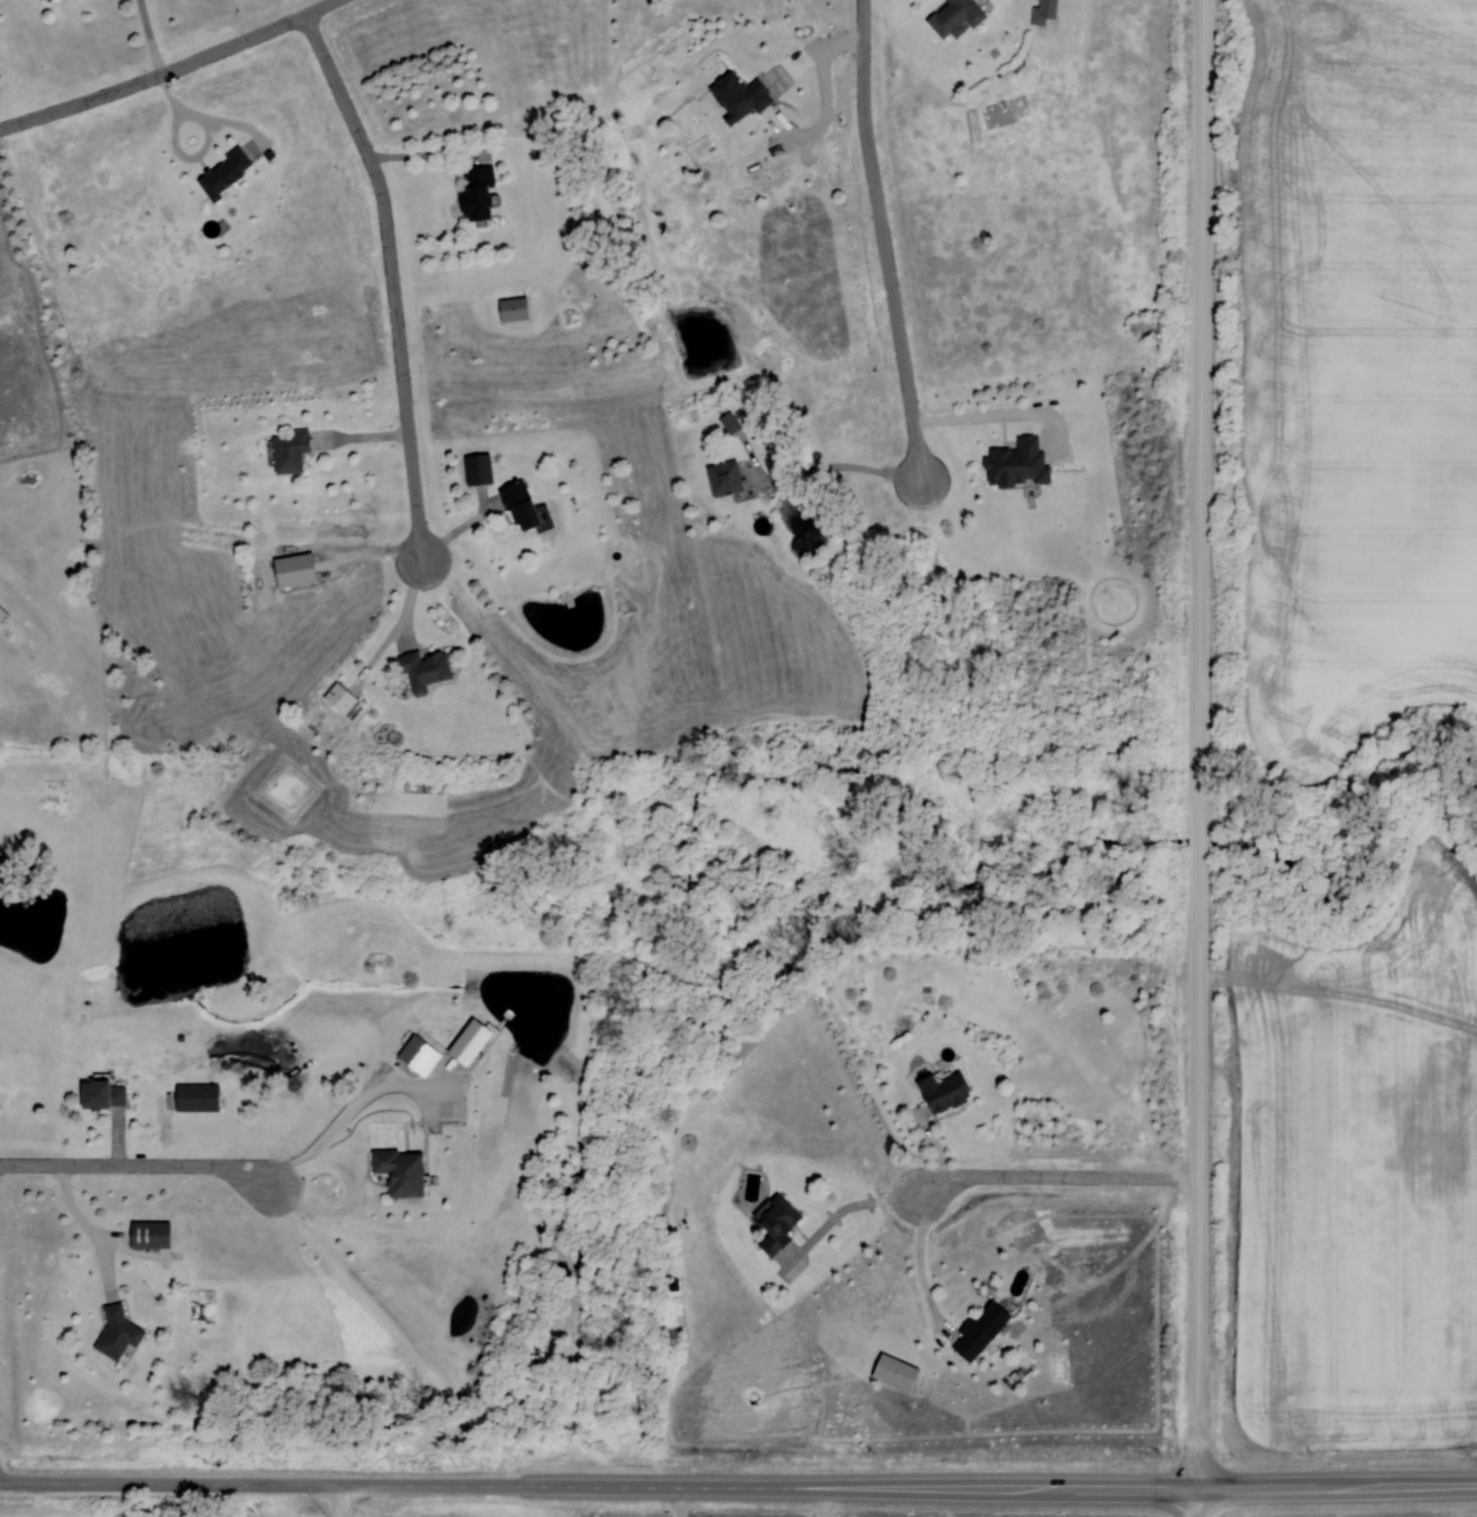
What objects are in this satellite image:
building: (950, 17)
road: (151, 38)
road: (175, 72)
building: (735, 96)
road: (828, 103)
road: (209, 141)
road: (431, 155)
building: (220, 172)
building: (471, 193)
road: (886, 242)
road: (395, 281)
building: (728, 422)
building: (287, 450)
building: (1014, 464)
road: (839, 467)
building: (475, 468)
building: (721, 478)
building: (515, 504)
road: (379, 547)
building: (289, 569)
building: (420, 669)
road: (1200, 745)
building: (412, 1053)
building: (939, 1092)
building: (98, 1096)
road: (335, 1105)
road: (140, 1166)
building: (395, 1172)
road: (1056, 1180)
road: (361, 1185)
road: (837, 1200)
building: (773, 1225)
road: (93, 1229)
building: (147, 1235)
road: (905, 1263)
building: (113, 1331)
building: (974, 1334)
road: (69, 1482)
road: (668, 1483)
road: (1337, 1488)
road: (336, 1500)
road: (666, 1500)
road: (810, 1500)
road: (1197, 1504)

